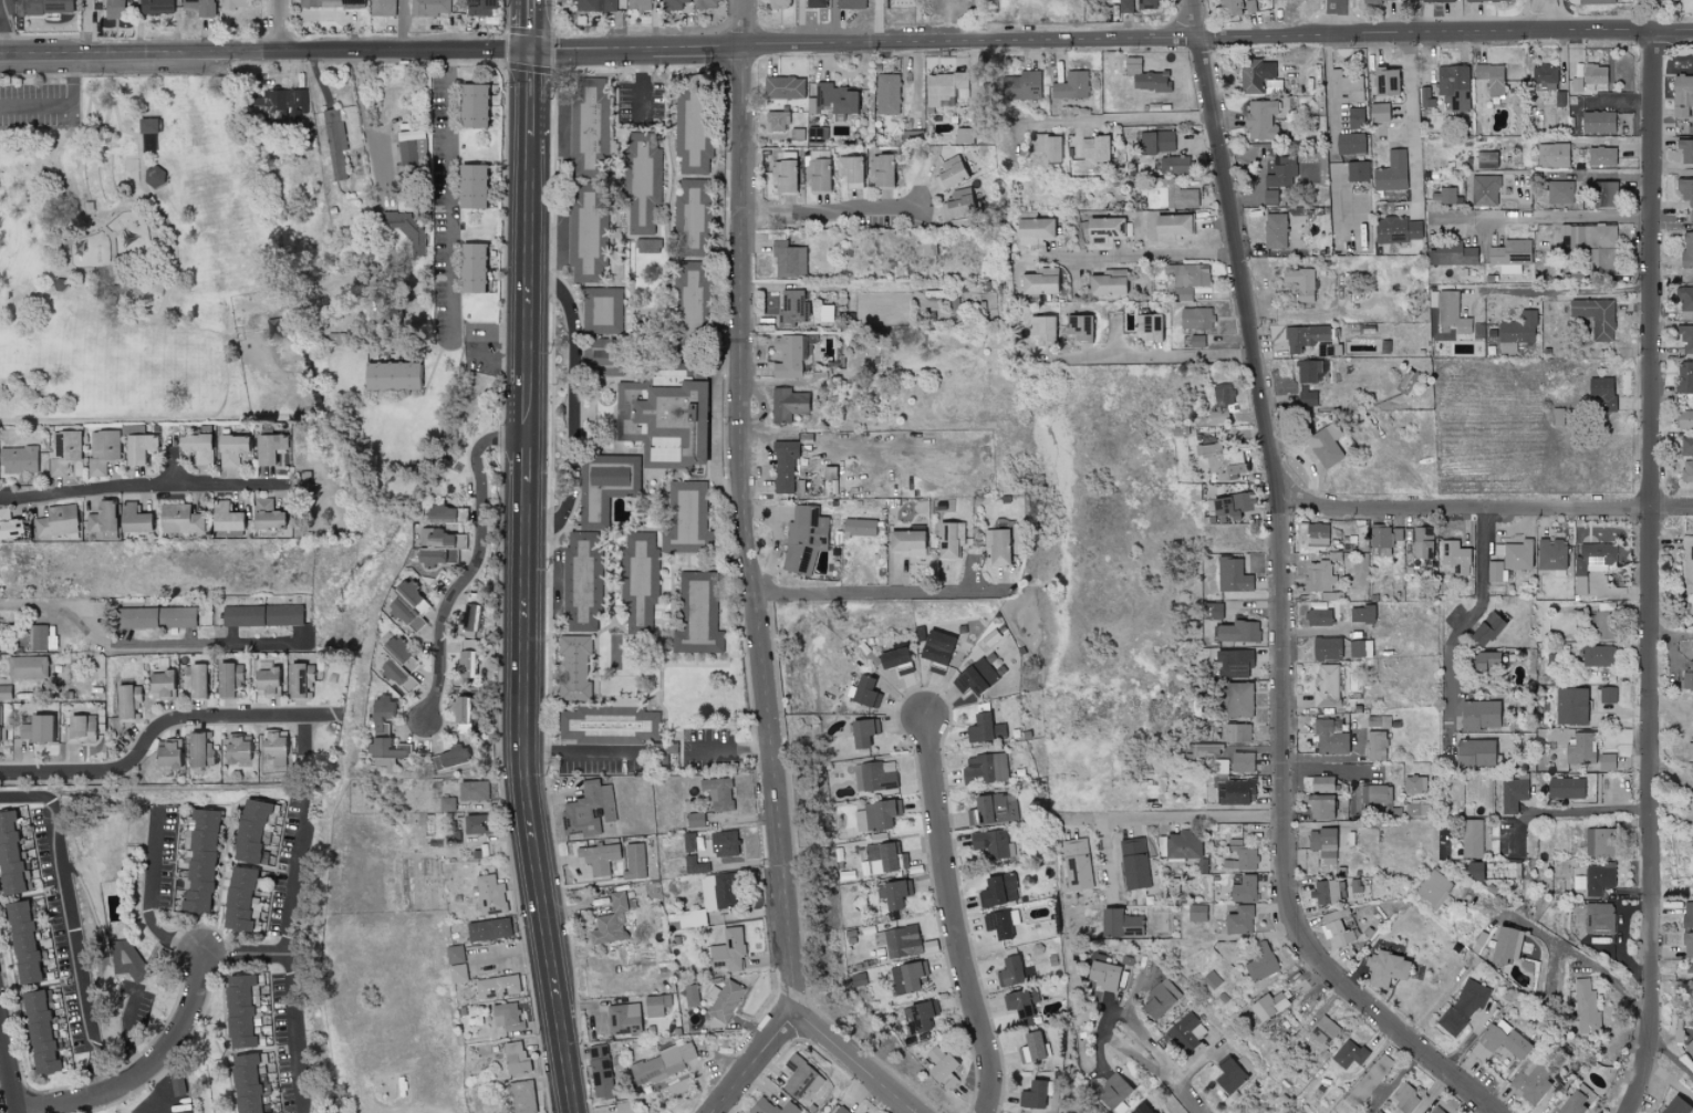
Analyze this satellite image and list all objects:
building: (1488, 0)
building: (1660, 0)
building: (1378, 1)
building: (1437, 1)
building: (1595, 2)
building: (330, 3)
building: (707, 3)
building: (814, 3)
building: (849, 3)
building: (232, 4)
building: (638, 4)
building: (673, 4)
building: (777, 4)
building: (899, 4)
building: (1146, 4)
building: (594, 6)
building: (1125, 6)
building: (48, 7)
building: (157, 7)
building: (200, 7)
building: (1236, 7)
building: (382, 8)
building: (429, 8)
building: (479, 8)
building: (113, 9)
road: (1546, 13)
road: (1338, 15)
road: (881, 21)
road: (279, 23)
road: (90, 24)
road: (406, 24)
road: (1, 25)
road: (530, 25)
road: (845, 42)
traffic signals: (530, 51)
building: (1143, 75)
building: (1254, 75)
building: (1491, 77)
building: (1544, 79)
building: (1590, 80)
building: (1384, 82)
road: (642, 85)
building: (1020, 86)
building: (1071, 86)
building: (1348, 86)
building: (783, 87)
building: (941, 87)
building: (1453, 87)
building: (1682, 91)
road: (530, 94)
building: (887, 94)
building: (833, 100)
road: (1334, 104)
parking lot: (41, 106)
building: (278, 106)
building: (471, 106)
road: (65, 107)
building: (1379, 113)
road: (365, 114)
building: (1354, 118)
road: (1122, 119)
building: (1261, 119)
building: (776, 121)
building: (1598, 122)
building: (592, 123)
road: (1414, 124)
building: (149, 125)
building: (692, 132)
building: (1155, 142)
building: (148, 143)
building: (334, 144)
building: (1350, 144)
building: (1047, 147)
building: (1094, 148)
building: (406, 149)
building: (1685, 150)
building: (1552, 155)
building: (1601, 157)
building: (1485, 160)
building: (1172, 165)
building: (849, 169)
building: (881, 171)
building: (1357, 171)
building: (949, 173)
building: (1281, 173)
building: (1391, 173)
building: (154, 176)
building: (783, 176)
building: (817, 176)
building: (642, 185)
building: (470, 187)
building: (1484, 190)
building: (1560, 191)
building: (1685, 191)
building: (1170, 195)
building: (1603, 195)
building: (1269, 196)
building: (957, 205)
road: (841, 209)
building: (688, 217)
road: (1543, 217)
road: (233, 227)
building: (406, 228)
building: (1171, 228)
road: (451, 230)
building: (1034, 230)
building: (1104, 230)
building: (1396, 230)
building: (590, 231)
building: (1275, 231)
building: (1509, 252)
park: (132, 253)
road: (1141, 253)
building: (1451, 253)
building: (788, 260)
building: (471, 269)
building: (1186, 279)
road: (170, 281)
building: (1038, 282)
building: (1107, 283)
building: (1300, 283)
road: (528, 285)
road: (1568, 289)
building: (690, 299)
building: (1685, 302)
building: (602, 305)
building: (790, 308)
building: (1452, 312)
building: (1595, 318)
building: (1195, 319)
building: (1147, 327)
building: (1040, 329)
building: (1077, 329)
building: (1516, 332)
building: (1305, 337)
building: (1683, 339)
road: (1163, 354)
building: (789, 355)
building: (599, 357)
building: (1308, 371)
building: (392, 374)
building: (1684, 377)
building: (1601, 393)
building: (1222, 397)
building: (1306, 398)
building: (787, 404)
road: (573, 405)
building: (663, 415)
building: (1684, 417)
building: (1325, 445)
building: (196, 446)
building: (139, 447)
building: (268, 447)
building: (1686, 447)
building: (230, 449)
building: (64, 450)
building: (103, 450)
building: (19, 459)
road: (527, 459)
building: (1221, 460)
building: (783, 466)
road: (172, 469)
building: (1686, 471)
road: (145, 482)
building: (604, 485)
building: (1230, 505)
road: (1487, 509)
road: (742, 510)
building: (437, 512)
building: (266, 513)
building: (459, 513)
building: (101, 517)
building: (224, 517)
building: (132, 518)
building: (686, 518)
building: (178, 519)
building: (56, 520)
building: (8, 523)
building: (859, 527)
building: (1316, 532)
building: (804, 539)
building: (949, 539)
building: (1385, 539)
building: (443, 541)
building: (904, 541)
building: (1423, 542)
building: (997, 547)
building: (1515, 553)
building: (1550, 553)
building: (428, 555)
building: (1457, 556)
building: (1592, 556)
road: (472, 561)
building: (1686, 563)
building: (1496, 571)
road: (1652, 572)
building: (1232, 574)
building: (1317, 575)
building: (580, 579)
building: (638, 579)
road: (877, 592)
road: (1289, 594)
building: (1331, 595)
road: (1481, 601)
building: (406, 602)
building: (1212, 610)
building: (1361, 613)
building: (261, 614)
building: (697, 615)
building: (1317, 616)
building: (155, 617)
building: (470, 617)
building: (1485, 628)
building: (1238, 631)
building: (40, 637)
road: (144, 644)
building: (935, 646)
building: (1326, 647)
building: (1360, 647)
building: (1691, 648)
building: (1598, 655)
building: (892, 657)
building: (1234, 662)
building: (398, 664)
building: (465, 664)
building: (27, 667)
building: (575, 667)
building: (975, 676)
building: (228, 678)
building: (300, 679)
building: (194, 680)
building: (267, 682)
building: (160, 684)
building: (1326, 685)
building: (864, 691)
building: (1607, 695)
building: (1238, 698)
building: (126, 699)
building: (1570, 705)
building: (461, 709)
building: (1478, 714)
building: (80, 727)
road: (165, 727)
building: (34, 728)
building: (984, 728)
building: (862, 731)
building: (1237, 732)
building: (384, 734)
building: (1330, 737)
building: (1375, 745)
building: (271, 747)
building: (236, 748)
building: (1580, 748)
building: (199, 749)
road: (725, 750)
building: (1474, 751)
building: (1690, 751)
building: (166, 752)
road: (583, 753)
building: (662, 753)
building: (447, 758)
building: (1242, 761)
building: (1606, 761)
building: (985, 768)
building: (874, 776)
building: (1321, 783)
building: (1415, 784)
building: (1565, 788)
building: (472, 790)
building: (1237, 791)
building: (717, 792)
building: (1514, 792)
building: (1375, 793)
road: (528, 800)
road: (1173, 801)
building: (446, 803)
building: (1321, 805)
building: (589, 808)
building: (1415, 808)
road: (1570, 812)
building: (876, 814)
building: (694, 820)
building: (476, 823)
building: (248, 830)
building: (451, 836)
building: (1472, 839)
building: (989, 841)
building: (1598, 842)
building: (724, 843)
building: (1183, 844)
building: (1322, 844)
building: (8, 855)
building: (598, 857)
building: (884, 857)
building: (1239, 857)
building: (199, 860)
building: (633, 861)
building: (1134, 863)
building: (1077, 864)
building: (695, 865)
building: (1502, 871)
building: (1595, 877)
building: (1243, 888)
building: (1434, 888)
building: (997, 890)
road: (1672, 890)
building: (718, 891)
building: (1325, 892)
building: (893, 893)
road: (147, 894)
building: (490, 895)
building: (237, 898)
building: (617, 902)
building: (1196, 913)
road: (293, 914)
building: (1687, 915)
road: (957, 916)
building: (1599, 918)
building: (1238, 919)
road: (72, 922)
building: (1118, 923)
building: (997, 924)
building: (1337, 927)
building: (488, 929)
building: (606, 930)
building: (899, 940)
building: (22, 942)
building: (1505, 944)
building: (1687, 945)
building: (728, 950)
building: (455, 954)
building: (124, 956)
road: (1585, 957)
building: (1260, 960)
building: (1384, 968)
building: (1009, 970)
building: (457, 972)
building: (1103, 975)
building: (907, 976)
building: (1209, 979)
building: (496, 986)
building: (692, 995)
building: (1160, 998)
building: (725, 999)
building: (1019, 1001)
building: (656, 1005)
building: (1267, 1005)
building: (1464, 1005)
building: (1586, 1007)
building: (238, 1010)
building: (920, 1015)
building: (624, 1016)
building: (507, 1017)
road: (1110, 1018)
road: (126, 1029)
building: (1322, 1030)
building: (1187, 1031)
building: (39, 1032)
road: (297, 1033)
building: (1499, 1043)
building: (1030, 1047)
building: (1689, 1047)
building: (1349, 1053)
building: (515, 1057)
building: (664, 1062)
building: (938, 1062)
road: (9, 1063)
road: (756, 1065)
road: (851, 1065)
road: (142, 1067)
road: (4, 1070)
building: (601, 1071)
building: (1230, 1073)
building: (800, 1076)
building: (1531, 1080)
building: (947, 1081)
building: (1368, 1082)
building: (245, 1083)
building: (1112, 1091)
building: (1032, 1094)
road: (1178, 1094)
building: (522, 1096)
building: (1403, 1099)
building: (1578, 1100)
building: (1675, 1105)
building: (771, 1106)
building: (1140, 1109)
building: (841, 1110)
building: (1435, 1110)
building: (267, 1112)
building: (1378, 1112)

